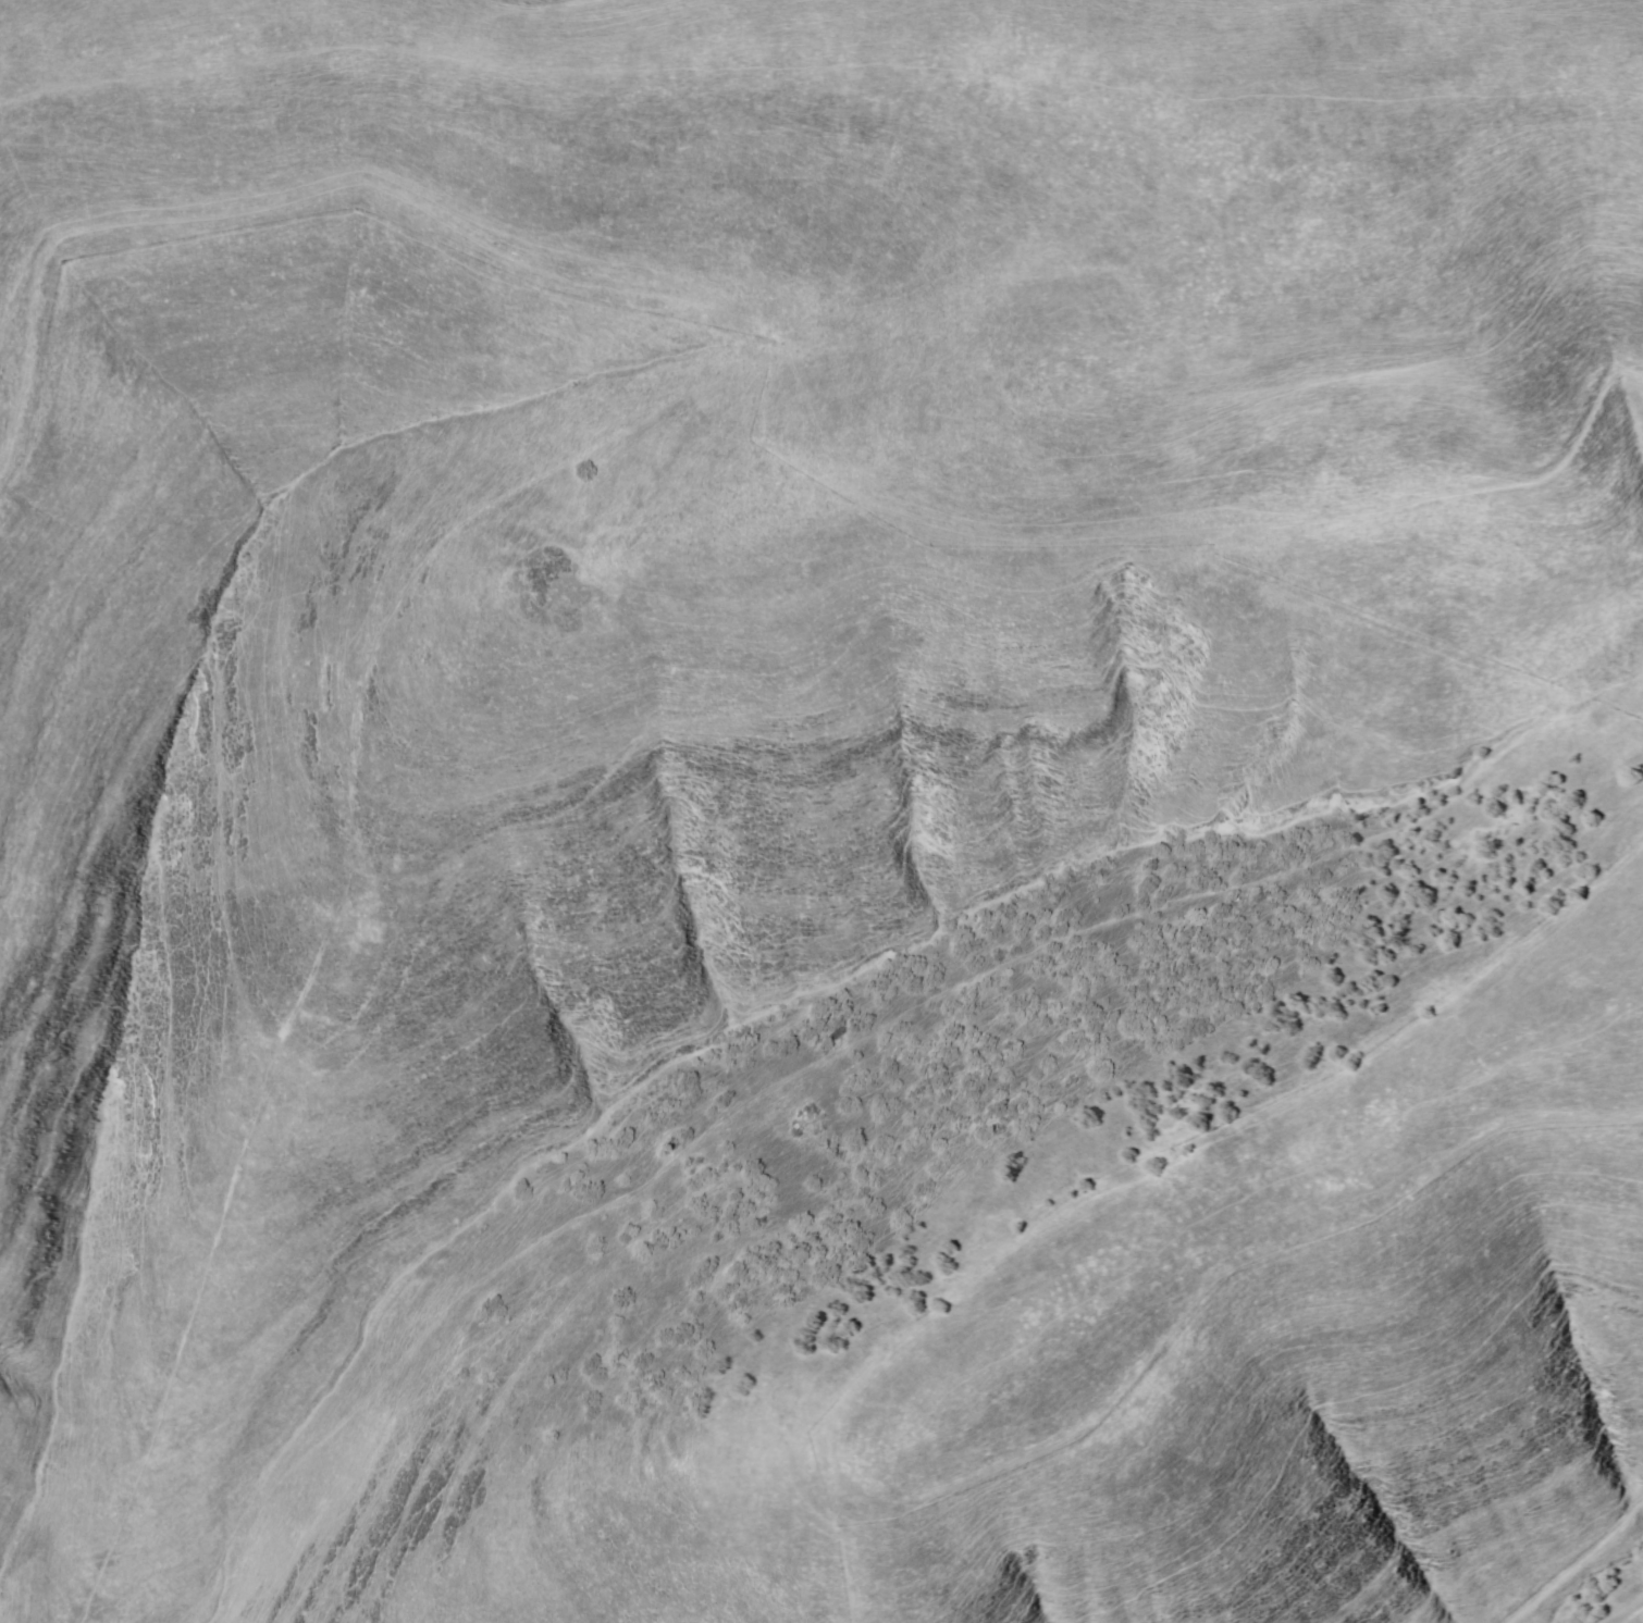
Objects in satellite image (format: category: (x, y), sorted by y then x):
road: (554, 15)

